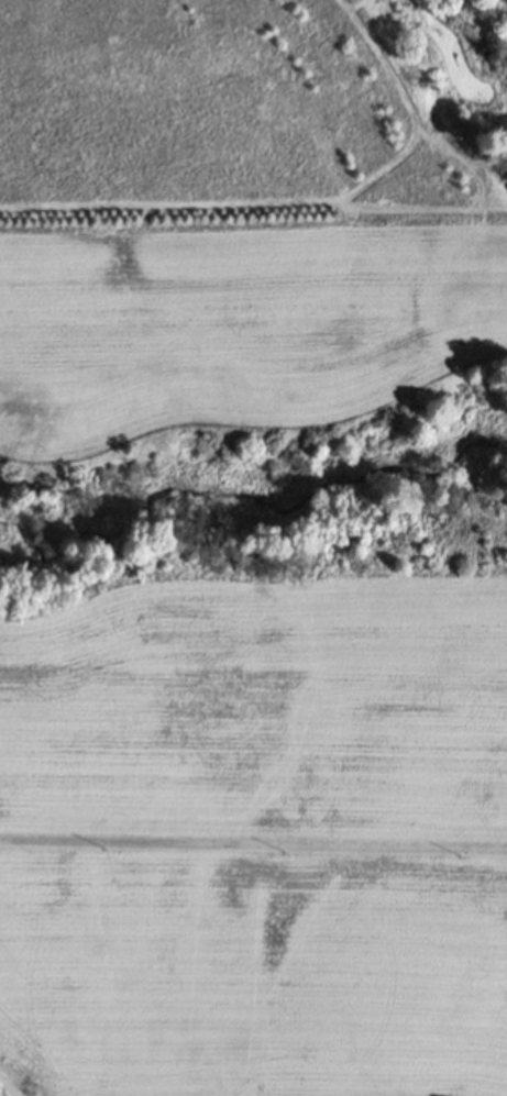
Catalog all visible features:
road: (253, 832)
road: (0, 1095)

